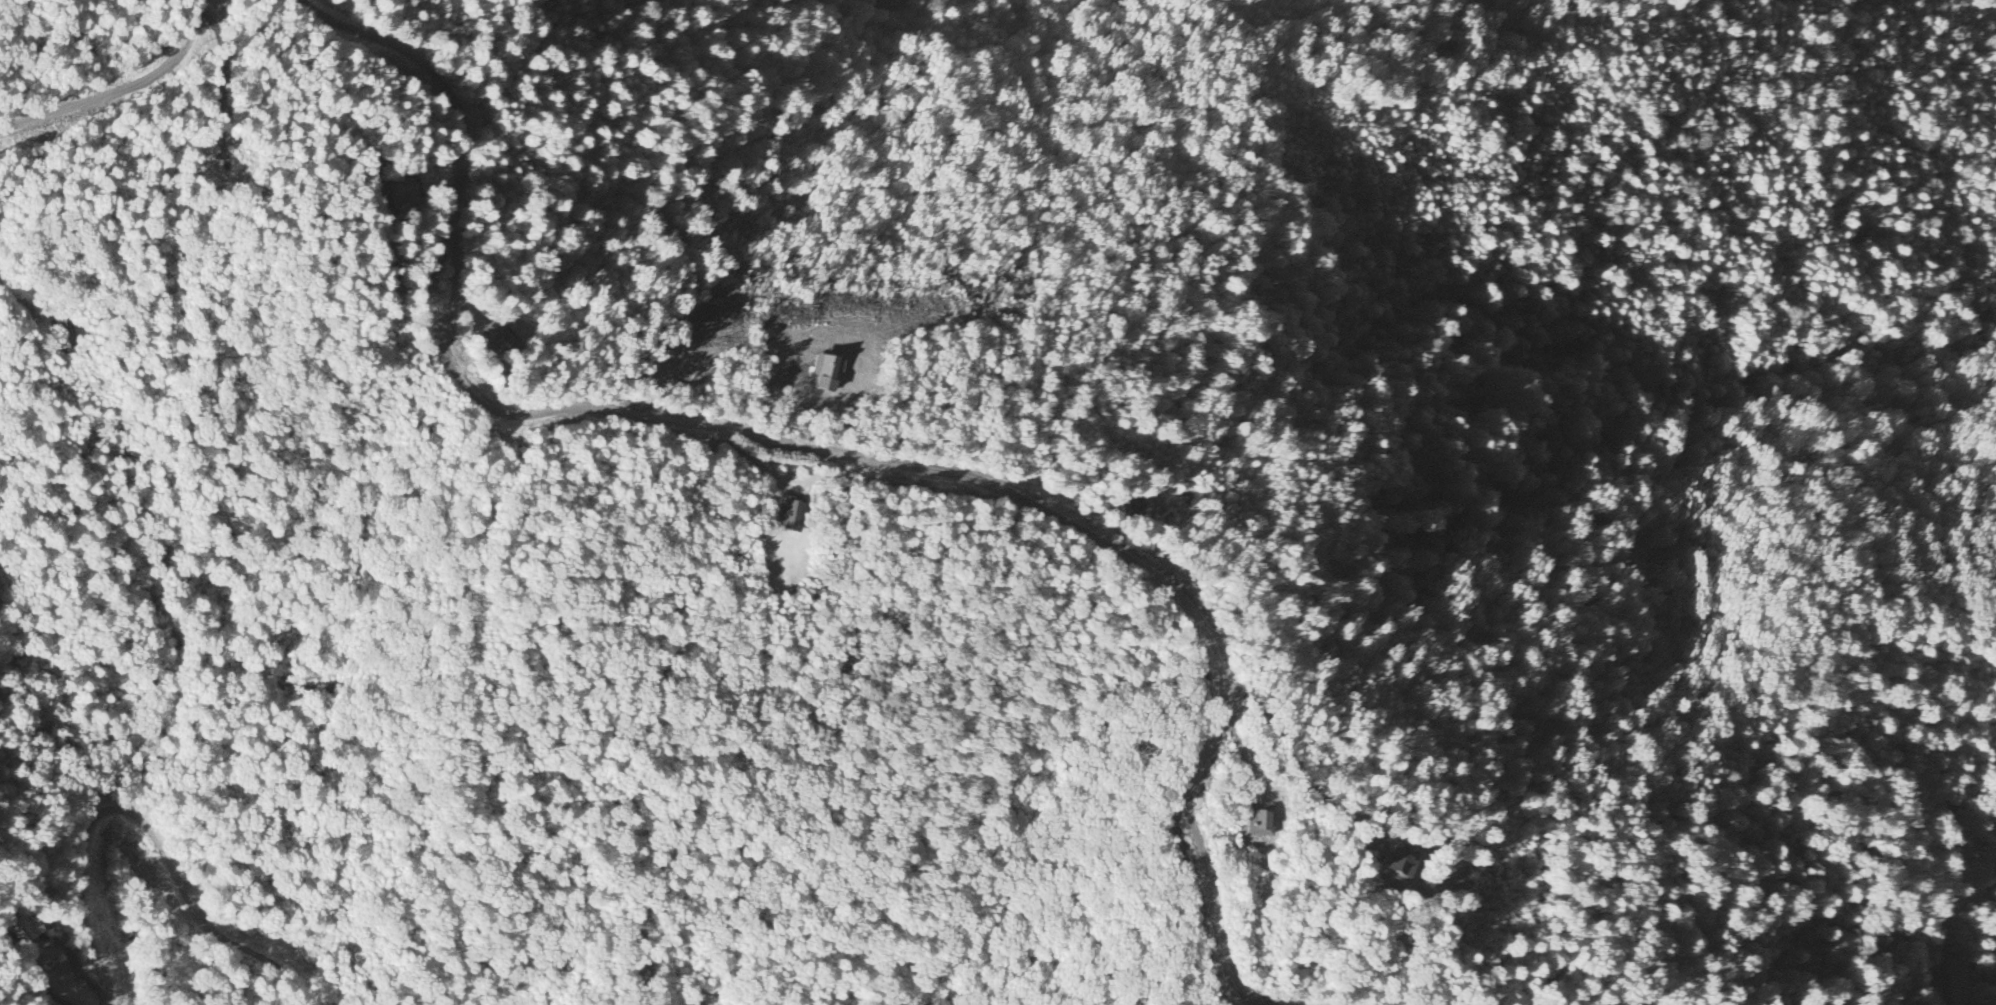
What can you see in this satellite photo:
road: (120, 87)
building: (403, 192)
building: (63, 334)
building: (497, 338)
building: (832, 373)
road: (819, 448)
building: (793, 516)
building: (1267, 819)
road: (142, 826)
building: (1412, 859)
building: (26, 931)

